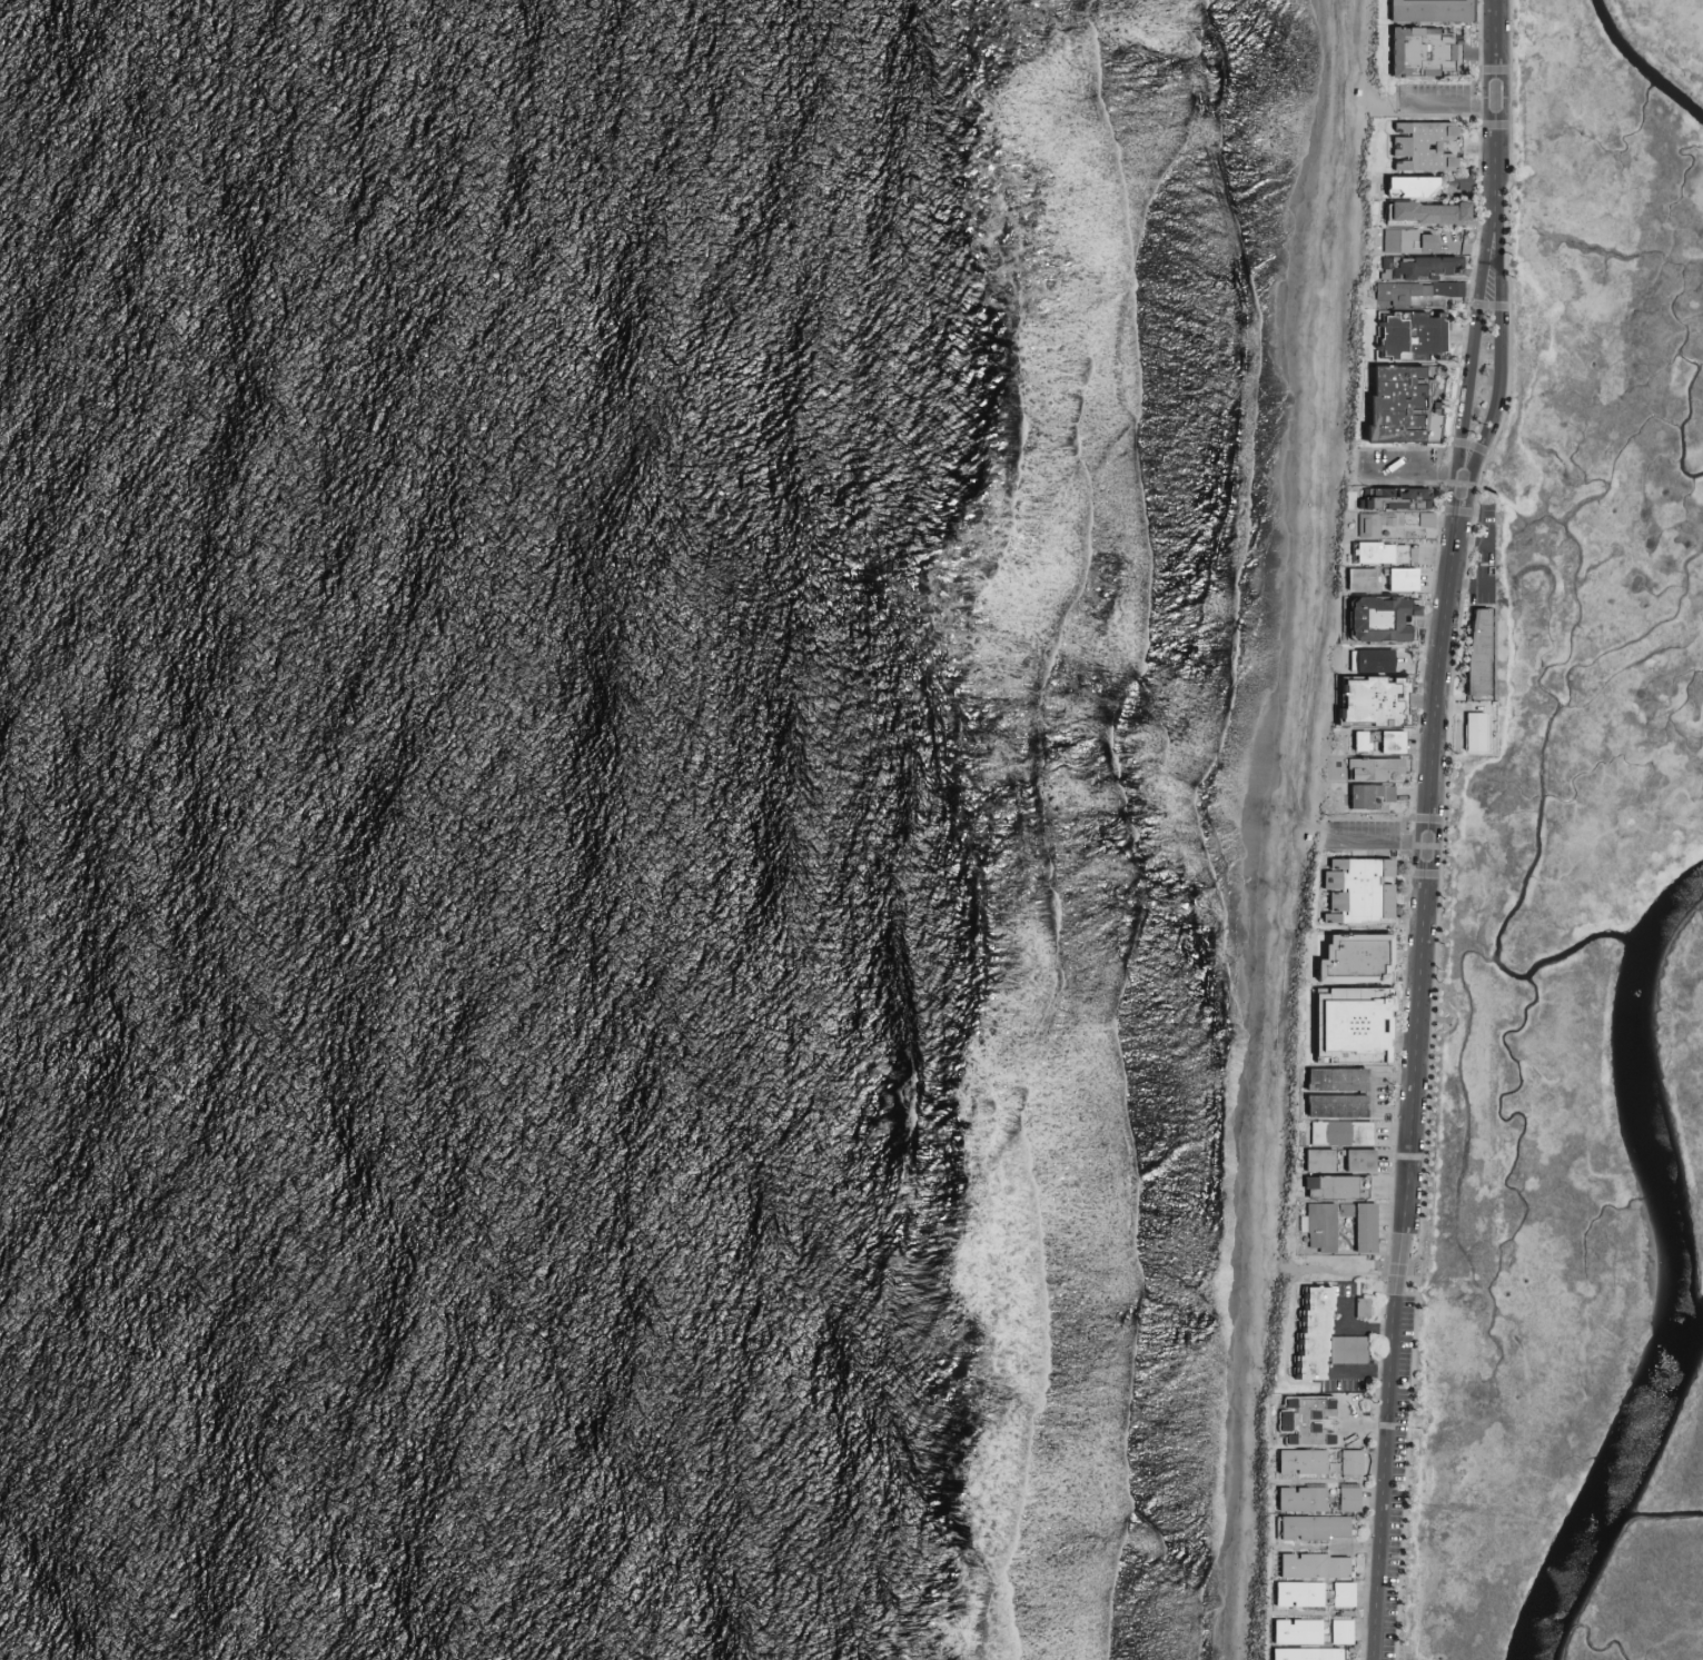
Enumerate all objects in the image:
building: (1410, 51)
river: (1648, 60)
parking lot: (1430, 99)
road: (1444, 106)
road: (1491, 117)
building: (1414, 147)
building: (1403, 187)
building: (1417, 212)
building: (1400, 241)
building: (1407, 267)
building: (1433, 288)
building: (1403, 320)
road: (1468, 350)
road: (1497, 356)
building: (1392, 406)
road: (1409, 468)
building: (1363, 526)
road: (1472, 543)
building: (1366, 553)
building: (1392, 554)
building: (1354, 578)
building: (1395, 579)
road: (1467, 587)
building: (1374, 619)
building: (1469, 653)
building: (1366, 660)
building: (1363, 700)
building: (1468, 727)
building: (1354, 742)
building: (1384, 743)
building: (1364, 795)
road: (1375, 833)
building: (1350, 888)
building: (1345, 955)
road: (1408, 1064)
building: (1328, 1091)
road: (1369, 1095)
building: (1331, 1132)
building: (1314, 1159)
building: (1354, 1159)
building: (1323, 1185)
building: (1355, 1223)
building: (1315, 1225)
road: (1336, 1272)
river: (1681, 1276)
building: (1363, 1311)
road: (1350, 1331)
building: (1314, 1333)
river: (1692, 1346)
building: (1350, 1353)
road: (1358, 1374)
building: (1305, 1419)
road: (1347, 1429)
building: (1290, 1459)
building: (1316, 1460)
building: (1350, 1461)
road: (1328, 1481)
building: (1316, 1497)
building: (1348, 1497)
building: (1290, 1498)
building: (1338, 1525)
building: (1293, 1527)
building: (1317, 1528)
road: (1326, 1547)
road: (1271, 1554)
building: (1293, 1564)
building: (1318, 1564)
building: (1338, 1565)
building: (1288, 1592)
building: (1314, 1593)
building: (1343, 1593)
road: (1323, 1613)
building: (1286, 1630)
building: (1340, 1630)
building: (1311, 1631)
building: (1286, 1653)
building: (1310, 1653)
building: (1330, 1653)

